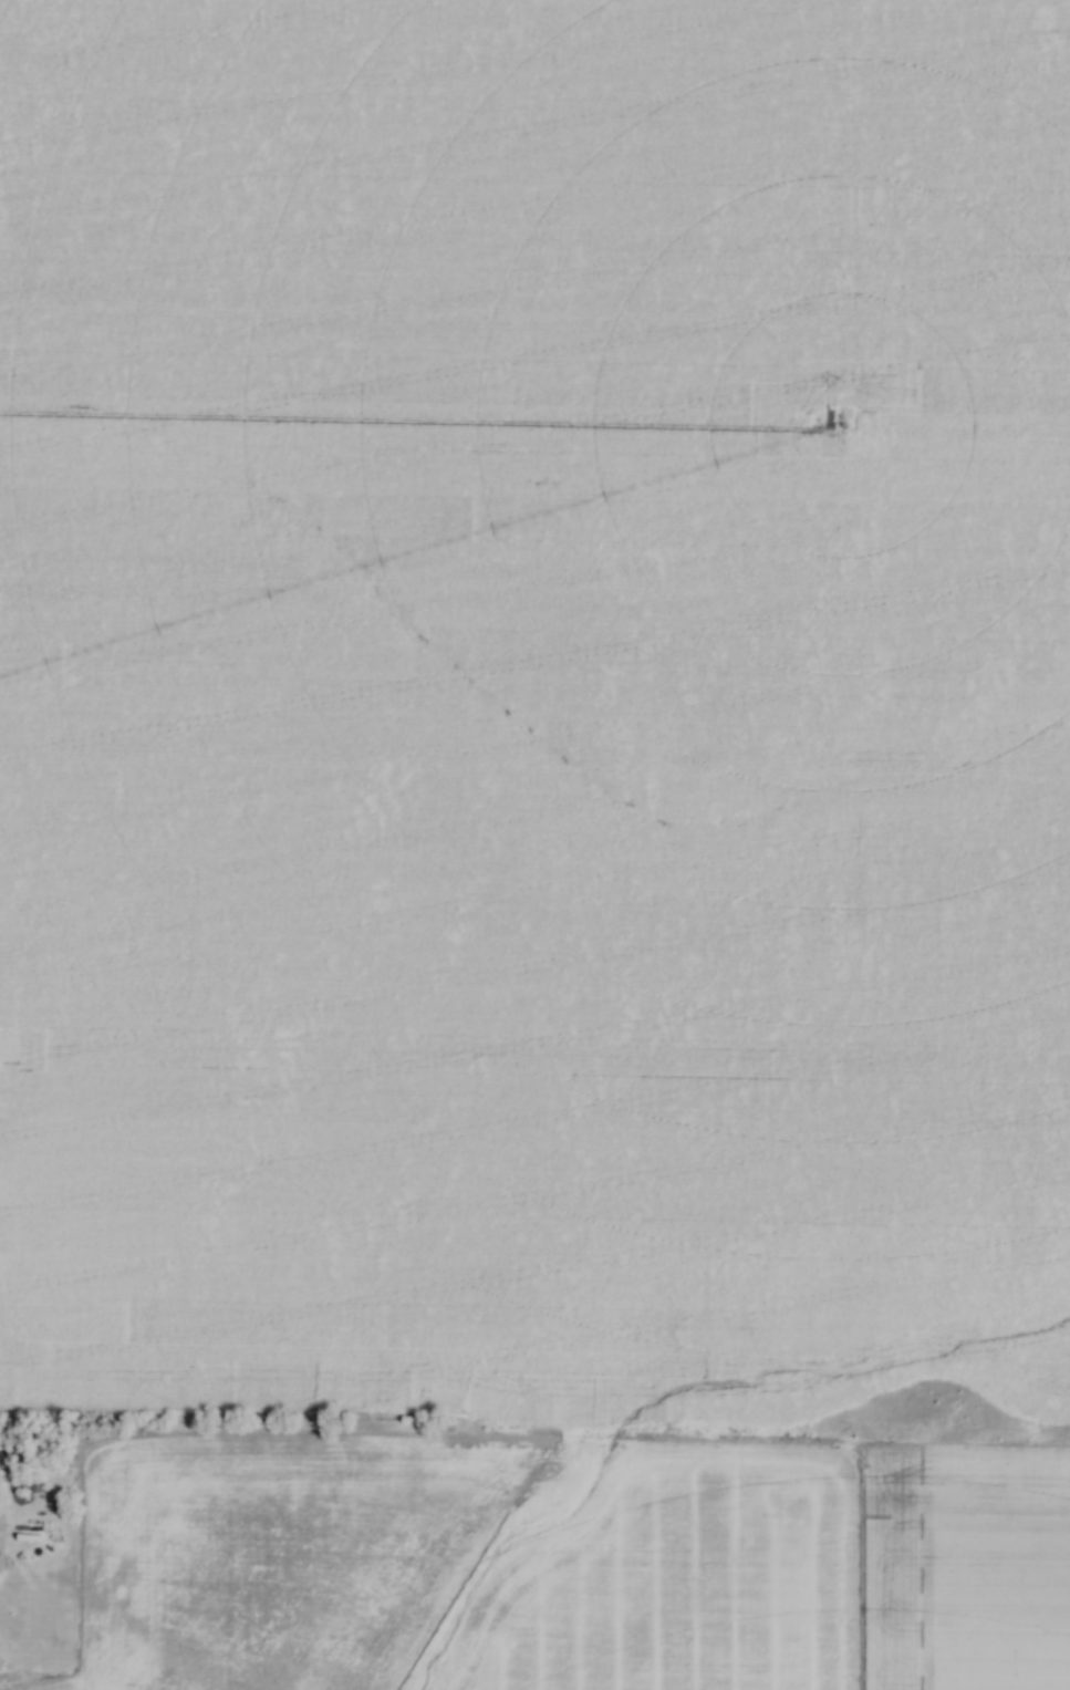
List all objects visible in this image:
building: (146, 1528)
building: (147, 1599)

